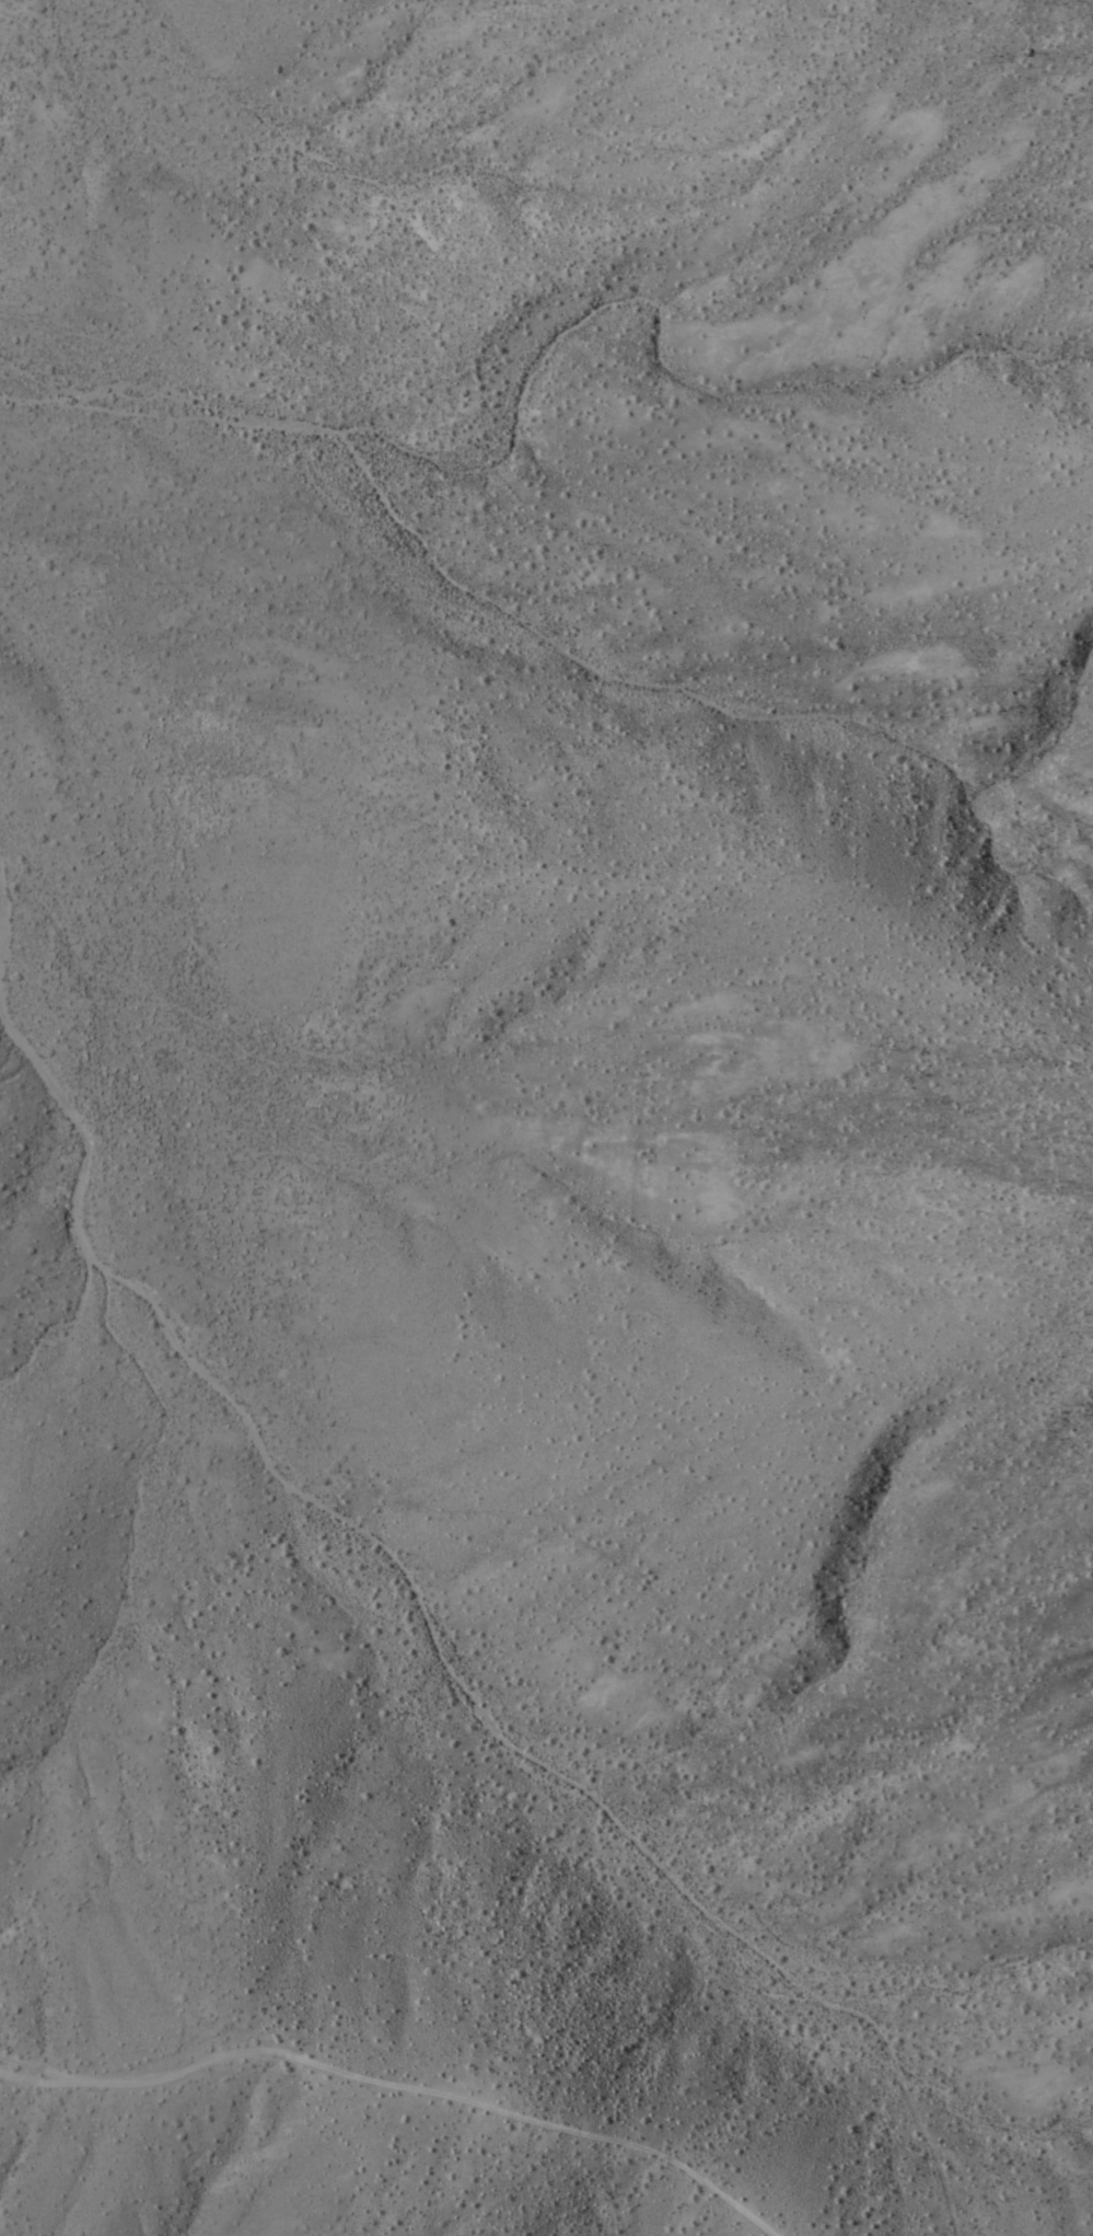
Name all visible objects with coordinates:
road: (37, 2083)
road: (398, 2085)

